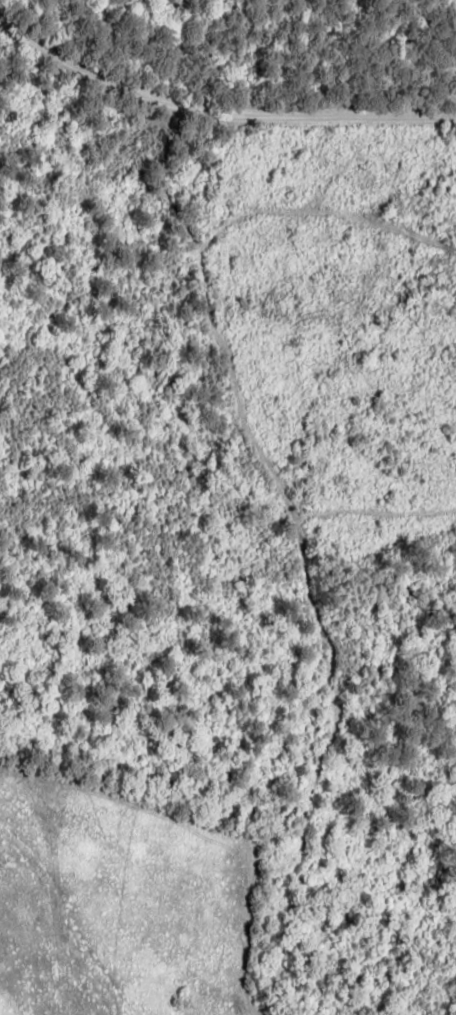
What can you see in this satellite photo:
road: (217, 102)

